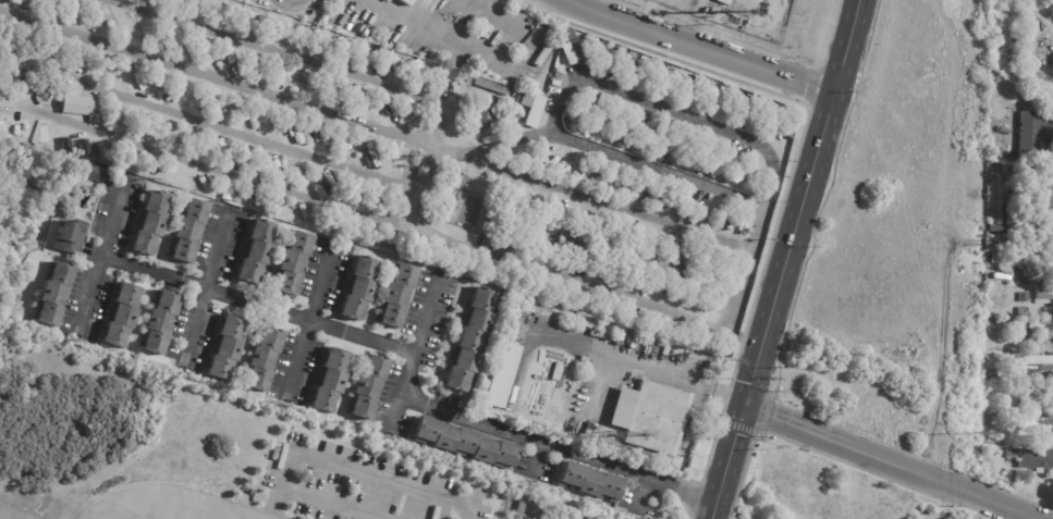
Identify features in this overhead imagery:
building: (387, 1)
building: (723, 1)
building: (404, 2)
building: (713, 10)
power substation: (742, 13)
building: (996, 21)
road: (699, 46)
building: (572, 51)
building: (602, 58)
building: (1044, 62)
building: (626, 64)
building: (2, 71)
building: (558, 75)
road: (217, 76)
road: (351, 77)
building: (491, 86)
building: (685, 88)
building: (2, 89)
building: (35, 94)
building: (711, 96)
building: (480, 100)
building: (743, 102)
building: (79, 104)
building: (585, 107)
building: (532, 109)
road: (931, 115)
building: (483, 119)
road: (223, 126)
building: (1004, 132)
building: (1034, 134)
building: (62, 140)
building: (997, 151)
building: (411, 157)
road: (776, 157)
building: (719, 164)
building: (96, 170)
building: (739, 174)
building: (1042, 183)
building: (1023, 194)
road: (801, 203)
building: (442, 212)
road: (910, 218)
building: (149, 224)
road: (756, 227)
building: (996, 228)
building: (1041, 230)
building: (185, 232)
building: (69, 237)
road: (99, 251)
building: (254, 251)
building: (1045, 262)
building: (292, 264)
road: (544, 269)
building: (1038, 273)
building: (1013, 275)
road: (204, 285)
building: (357, 289)
building: (52, 294)
building: (1044, 295)
building: (395, 297)
building: (1024, 297)
road: (256, 304)
building: (1024, 311)
building: (120, 316)
road: (308, 318)
building: (158, 322)
building: (651, 323)
building: (661, 323)
building: (1019, 325)
building: (1042, 329)
building: (1023, 335)
building: (468, 342)
road: (940, 345)
building: (225, 348)
road: (413, 351)
building: (262, 360)
road: (644, 366)
building: (1036, 366)
building: (555, 372)
building: (501, 376)
building: (331, 380)
building: (368, 387)
building: (1036, 392)
traffic signals: (744, 407)
building: (651, 417)
building: (1040, 423)
building: (464, 444)
road: (558, 448)
building: (1013, 454)
building: (1036, 459)
road: (727, 462)
road: (892, 462)
road: (354, 468)
building: (991, 478)
building: (588, 483)
road: (877, 486)
road: (910, 495)
road: (180, 499)
building: (518, 509)

